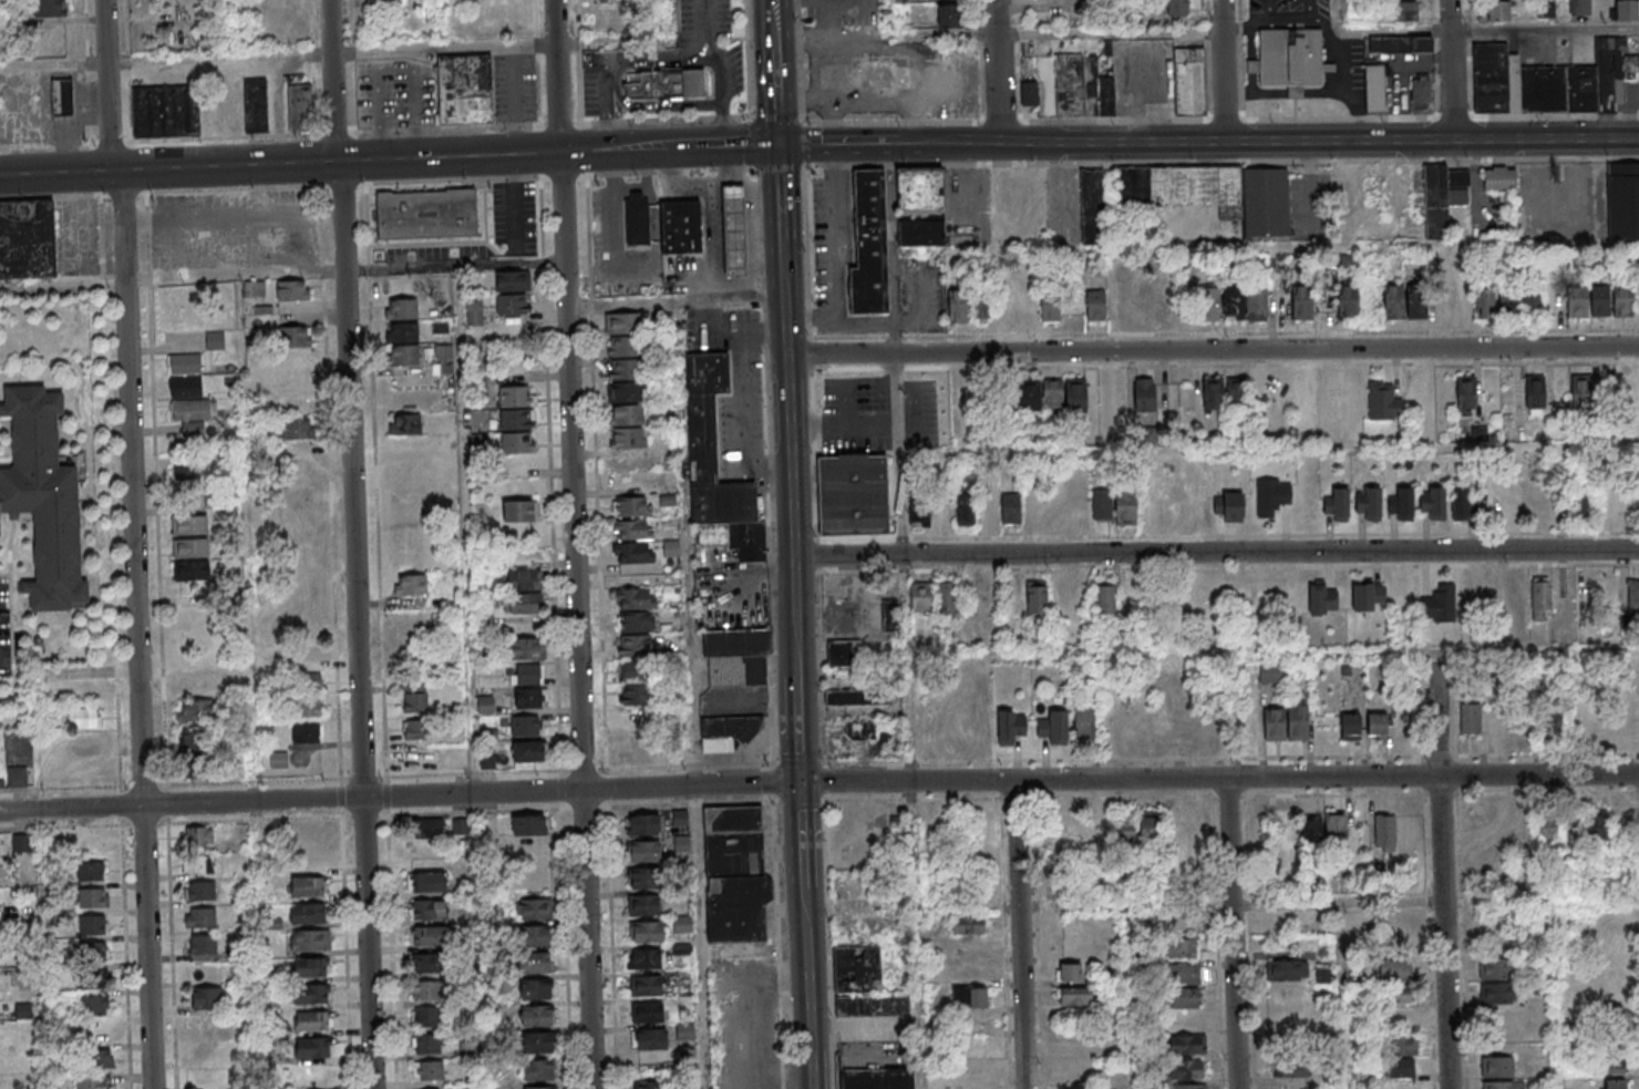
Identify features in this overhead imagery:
building: (386, 1)
building: (1579, 7)
building: (1176, 8)
road: (1269, 8)
road: (1309, 8)
building: (51, 9)
building: (1626, 9)
building: (1406, 10)
building: (1499, 11)
building: (948, 16)
road: (1301, 16)
road: (1113, 17)
road: (889, 19)
road: (999, 19)
road: (674, 20)
road: (313, 23)
road: (709, 27)
road: (1249, 27)
road: (1484, 28)
road: (999, 38)
building: (1400, 44)
road: (505, 48)
building: (1289, 59)
road: (615, 60)
road: (167, 62)
road: (539, 63)
road: (354, 66)
road: (1455, 70)
road: (1227, 71)
building: (867, 76)
building: (1189, 81)
building: (1554, 82)
building: (667, 83)
road: (1344, 83)
building: (1082, 86)
building: (1374, 88)
building: (467, 89)
building: (1420, 90)
road: (1000, 91)
building: (1029, 93)
building: (62, 96)
road: (723, 97)
building: (202, 107)
building: (299, 107)
road: (282, 110)
road: (564, 123)
road: (270, 136)
road: (1434, 141)
traffic signals: (777, 147)
road: (614, 152)
building: (1561, 171)
building: (1498, 179)
road: (704, 183)
road: (649, 184)
road: (346, 185)
building: (1343, 186)
building: (920, 191)
building: (1216, 193)
road: (74, 196)
building: (1442, 197)
road: (766, 198)
building: (1622, 201)
building: (1092, 205)
building: (429, 214)
building: (639, 219)
building: (683, 226)
road: (618, 227)
building: (736, 229)
building: (921, 233)
building: (27, 239)
road: (714, 240)
road: (752, 242)
building: (870, 245)
road: (1268, 249)
road: (769, 264)
road: (284, 274)
building: (254, 289)
building: (292, 290)
building: (512, 295)
building: (1604, 300)
building: (1626, 300)
road: (677, 301)
building: (1395, 301)
building: (1420, 301)
building: (1580, 301)
road: (838, 302)
building: (1141, 302)
building: (1164, 302)
building: (1303, 302)
building: (1324, 302)
building: (1351, 302)
building: (1440, 302)
building: (1259, 304)
building: (1508, 304)
building: (1530, 304)
building: (1095, 305)
building: (1212, 305)
building: (1236, 305)
building: (958, 306)
building: (1484, 306)
building: (981, 307)
building: (1050, 307)
building: (404, 309)
building: (474, 312)
road: (812, 315)
building: (625, 322)
building: (404, 332)
road: (785, 332)
building: (628, 346)
building: (295, 348)
road: (899, 349)
road: (1213, 350)
building: (443, 352)
building: (405, 356)
building: (197, 357)
building: (254, 359)
building: (629, 369)
building: (185, 386)
building: (1586, 387)
building: (1328, 391)
building: (627, 392)
building: (1306, 392)
building: (1467, 392)
building: (1213, 393)
building: (1235, 393)
building: (1075, 394)
building: (1144, 394)
building: (1535, 394)
building: (517, 395)
building: (1052, 395)
building: (1030, 397)
building: (1383, 401)
building: (193, 414)
building: (630, 414)
building: (518, 420)
building: (408, 424)
road: (845, 424)
building: (297, 428)
building: (631, 438)
building: (519, 442)
building: (714, 445)
road: (1270, 450)
building: (187, 470)
building: (408, 470)
road: (158, 490)
building: (1271, 495)
building: (306, 496)
building: (856, 496)
building: (43, 497)
building: (1368, 503)
building: (1432, 503)
building: (1463, 503)
building: (1584, 503)
building: (1101, 504)
building: (1401, 504)
building: (1337, 505)
building: (1228, 506)
building: (633, 507)
building: (1125, 507)
building: (965, 508)
building: (520, 510)
building: (919, 510)
building: (1010, 511)
building: (189, 524)
road: (468, 530)
building: (635, 531)
road: (137, 543)
road: (357, 544)
road: (578, 544)
building: (189, 547)
road: (1215, 552)
building: (636, 554)
building: (192, 571)
building: (527, 581)
building: (410, 585)
building: (1403, 592)
building: (1367, 595)
building: (1105, 596)
building: (1632, 596)
building: (919, 597)
building: (635, 598)
building: (946, 598)
building: (1035, 598)
building: (1322, 598)
building: (1540, 599)
building: (1439, 604)
building: (874, 616)
building: (636, 621)
road: (383, 637)
building: (635, 645)
building: (527, 649)
building: (843, 653)
road: (1279, 655)
building: (738, 657)
building: (635, 670)
building: (1270, 672)
building: (525, 675)
building: (311, 682)
building: (190, 687)
building: (636, 694)
road: (694, 695)
building: (528, 698)
building: (855, 698)
building: (415, 701)
building: (311, 706)
building: (195, 710)
building: (82, 717)
building: (1470, 720)
building: (636, 721)
building: (1083, 721)
building: (1286, 723)
building: (1550, 723)
road: (798, 725)
building: (525, 726)
building: (1010, 726)
building: (1247, 726)
building: (1054, 727)
building: (1362, 727)
building: (415, 729)
building: (860, 730)
building: (729, 731)
building: (306, 733)
building: (193, 738)
building: (528, 751)
building: (632, 751)
building: (416, 756)
road: (1230, 758)
building: (487, 760)
road: (802, 762)
road: (694, 767)
building: (195, 768)
road: (586, 770)
building: (17, 777)
road: (818, 782)
traffic signals: (802, 783)
road: (61, 790)
road: (1125, 797)
road: (802, 801)
road: (585, 809)
building: (680, 816)
road: (194, 823)
building: (1594, 823)
building: (646, 824)
building: (528, 825)
building: (1124, 825)
building: (460, 826)
building: (1148, 826)
building: (1286, 826)
road: (124, 828)
building: (427, 828)
building: (1334, 829)
building: (1547, 829)
building: (1311, 831)
building: (306, 832)
road: (343, 832)
building: (1384, 833)
building: (202, 838)
road: (803, 842)
building: (681, 849)
building: (647, 852)
building: (311, 859)
building: (203, 864)
road: (1446, 871)
building: (92, 872)
building: (735, 874)
building: (1340, 875)
building: (649, 879)
building: (430, 882)
building: (307, 886)
building: (205, 892)
building: (94, 898)
road: (1183, 903)
building: (646, 905)
building: (431, 910)
building: (539, 910)
building: (306, 913)
building: (205, 918)
building: (1186, 920)
building: (873, 922)
building: (1279, 923)
building: (1396, 923)
building: (967, 924)
building: (94, 925)
road: (1235, 932)
building: (650, 933)
road: (920, 934)
road: (1023, 934)
road: (174, 936)
building: (432, 936)
building: (536, 936)
building: (315, 941)
building: (206, 945)
building: (1184, 948)
building: (95, 953)
building: (648, 959)
building: (431, 963)
building: (536, 963)
building: (310, 967)
building: (1495, 969)
building: (855, 970)
building: (1286, 970)
building: (1070, 973)
building: (1185, 973)
building: (1323, 973)
building: (95, 978)
building: (1399, 982)
building: (649, 986)
building: (538, 989)
building: (427, 990)
building: (1496, 994)
building: (313, 995)
road: (808, 995)
road: (1346, 995)
road: (1133, 996)
building: (206, 997)
building: (970, 997)
building: (1074, 997)
building: (1185, 997)
building: (0, 1006)
building: (96, 1006)
building: (870, 1007)
building: (649, 1014)
building: (538, 1016)
building: (429, 1017)
building: (315, 1021)
building: (653, 1040)
building: (539, 1042)
building: (1192, 1044)
building: (430, 1045)
building: (316, 1048)
building: (1402, 1056)
building: (100, 1060)
building: (1612, 1066)
building: (1499, 1068)
building: (1186, 1069)
building: (1291, 1069)
building: (540, 1070)
building: (430, 1071)
building: (876, 1079)
building: (95, 1082)
building: (1616, 1083)
building: (649, 1086)
building: (1506, 1086)
building: (1076, 1087)
building: (1188, 1087)
building: (544, 1088)

